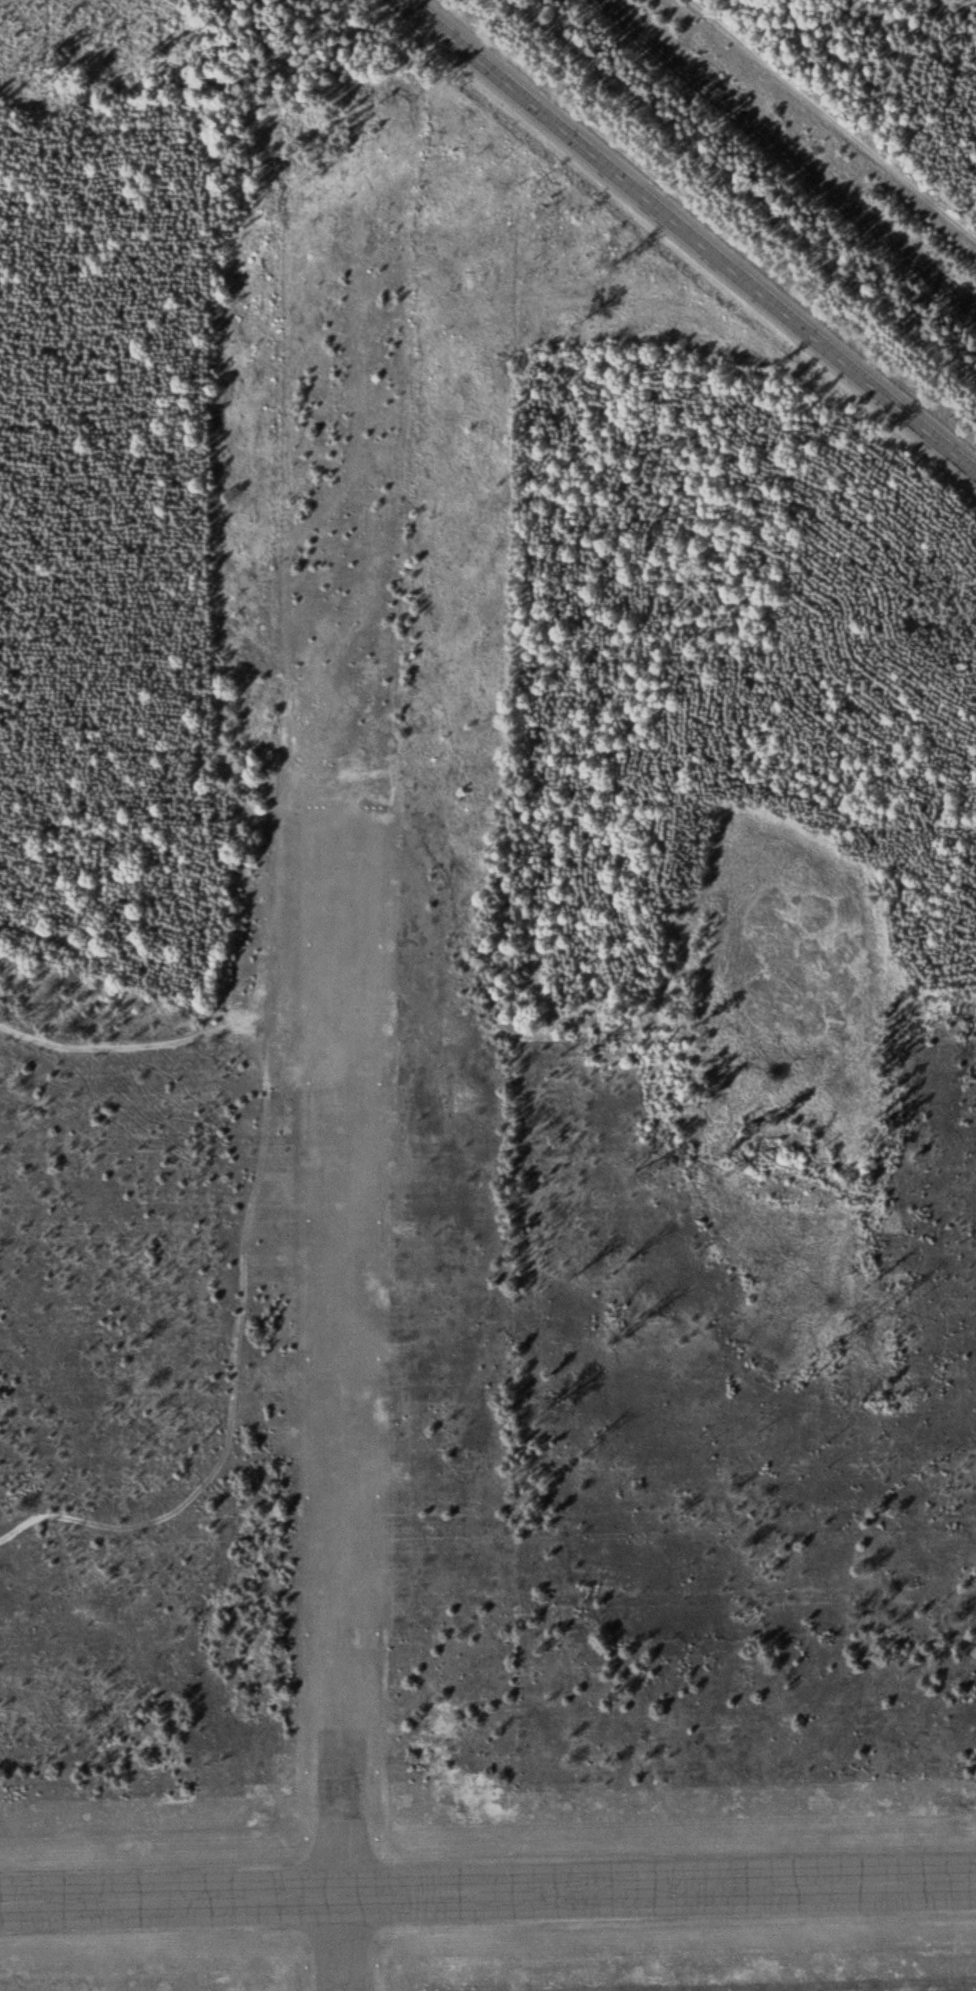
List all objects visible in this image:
road: (842, 113)
railway: (793, 158)
road: (696, 234)
road: (843, 1191)
road: (243, 1229)
airport runway: (343, 1396)
airport runway: (488, 1889)

